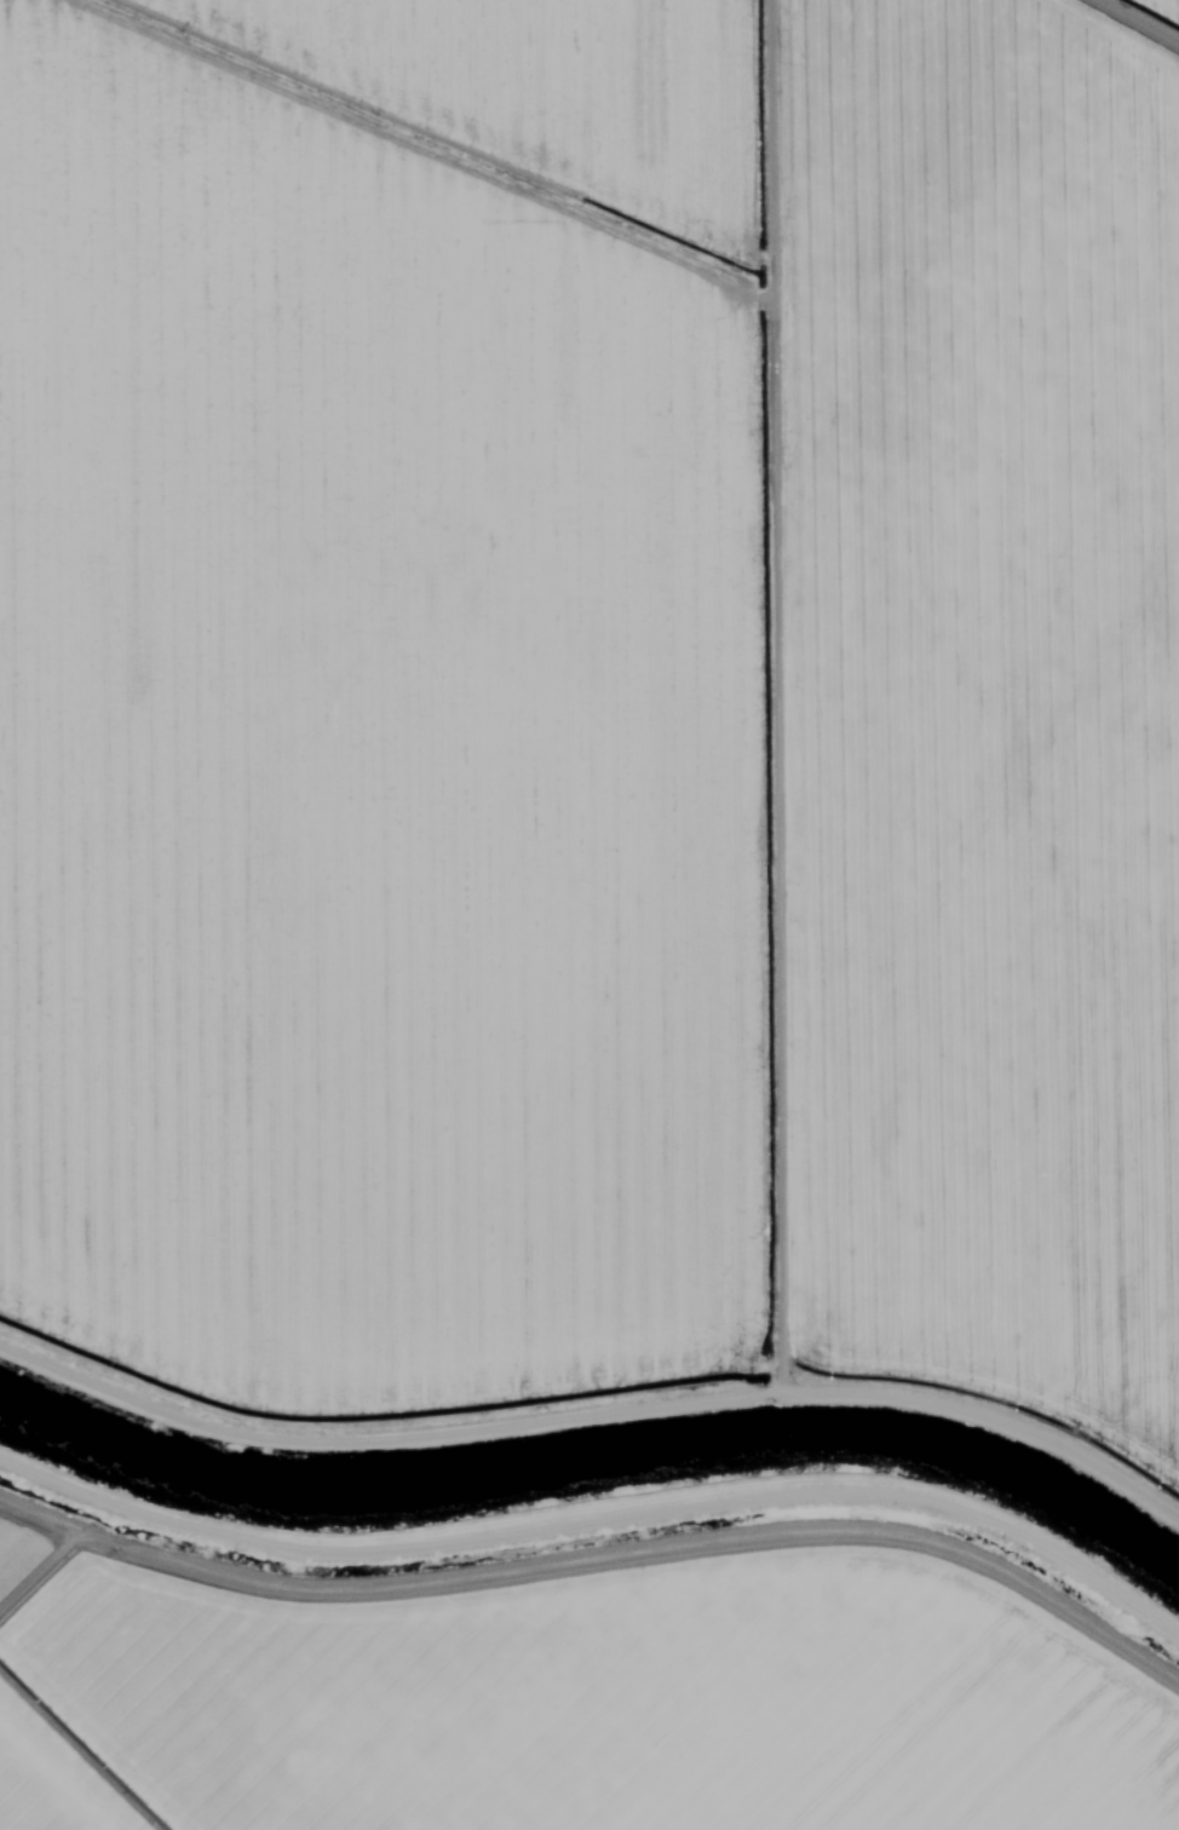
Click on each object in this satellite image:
road: (765, 649)
crop: (384, 707)
crop: (976, 709)
road: (599, 1318)
crop: (573, 1699)

